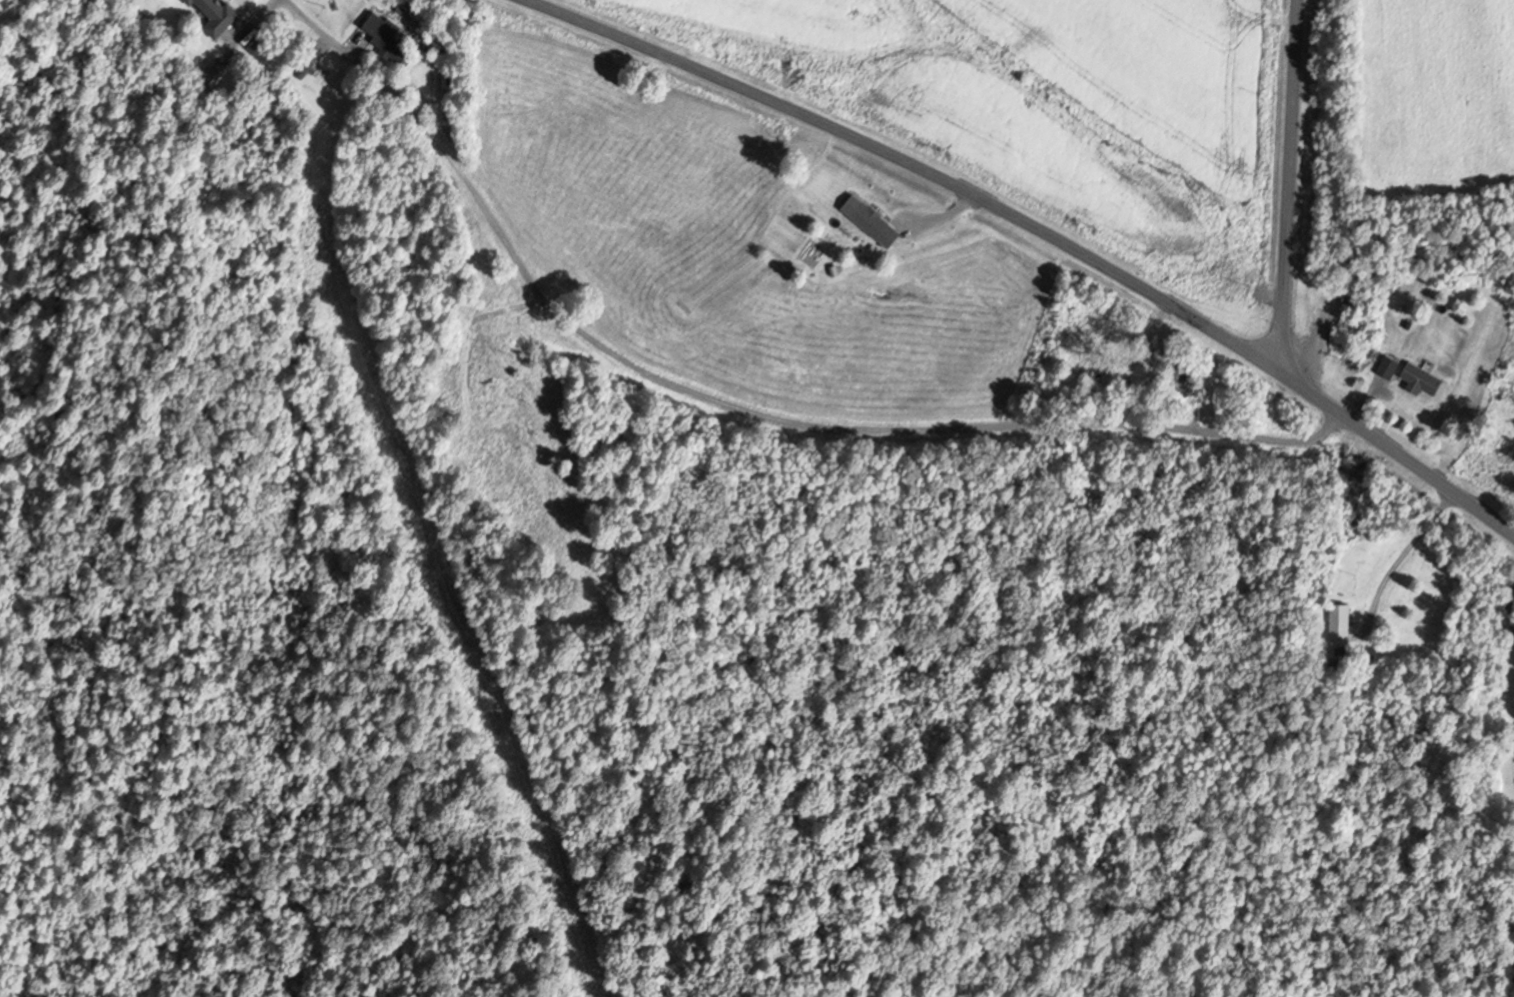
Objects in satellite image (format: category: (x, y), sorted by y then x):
building: (220, 14)
building: (393, 39)
building: (214, 70)
road: (1287, 184)
building: (880, 224)
road: (1045, 229)
building: (1108, 365)
building: (1391, 366)
building: (1424, 377)
building: (1186, 379)
building: (496, 399)
road: (736, 407)
building: (1509, 445)
building: (1342, 623)

